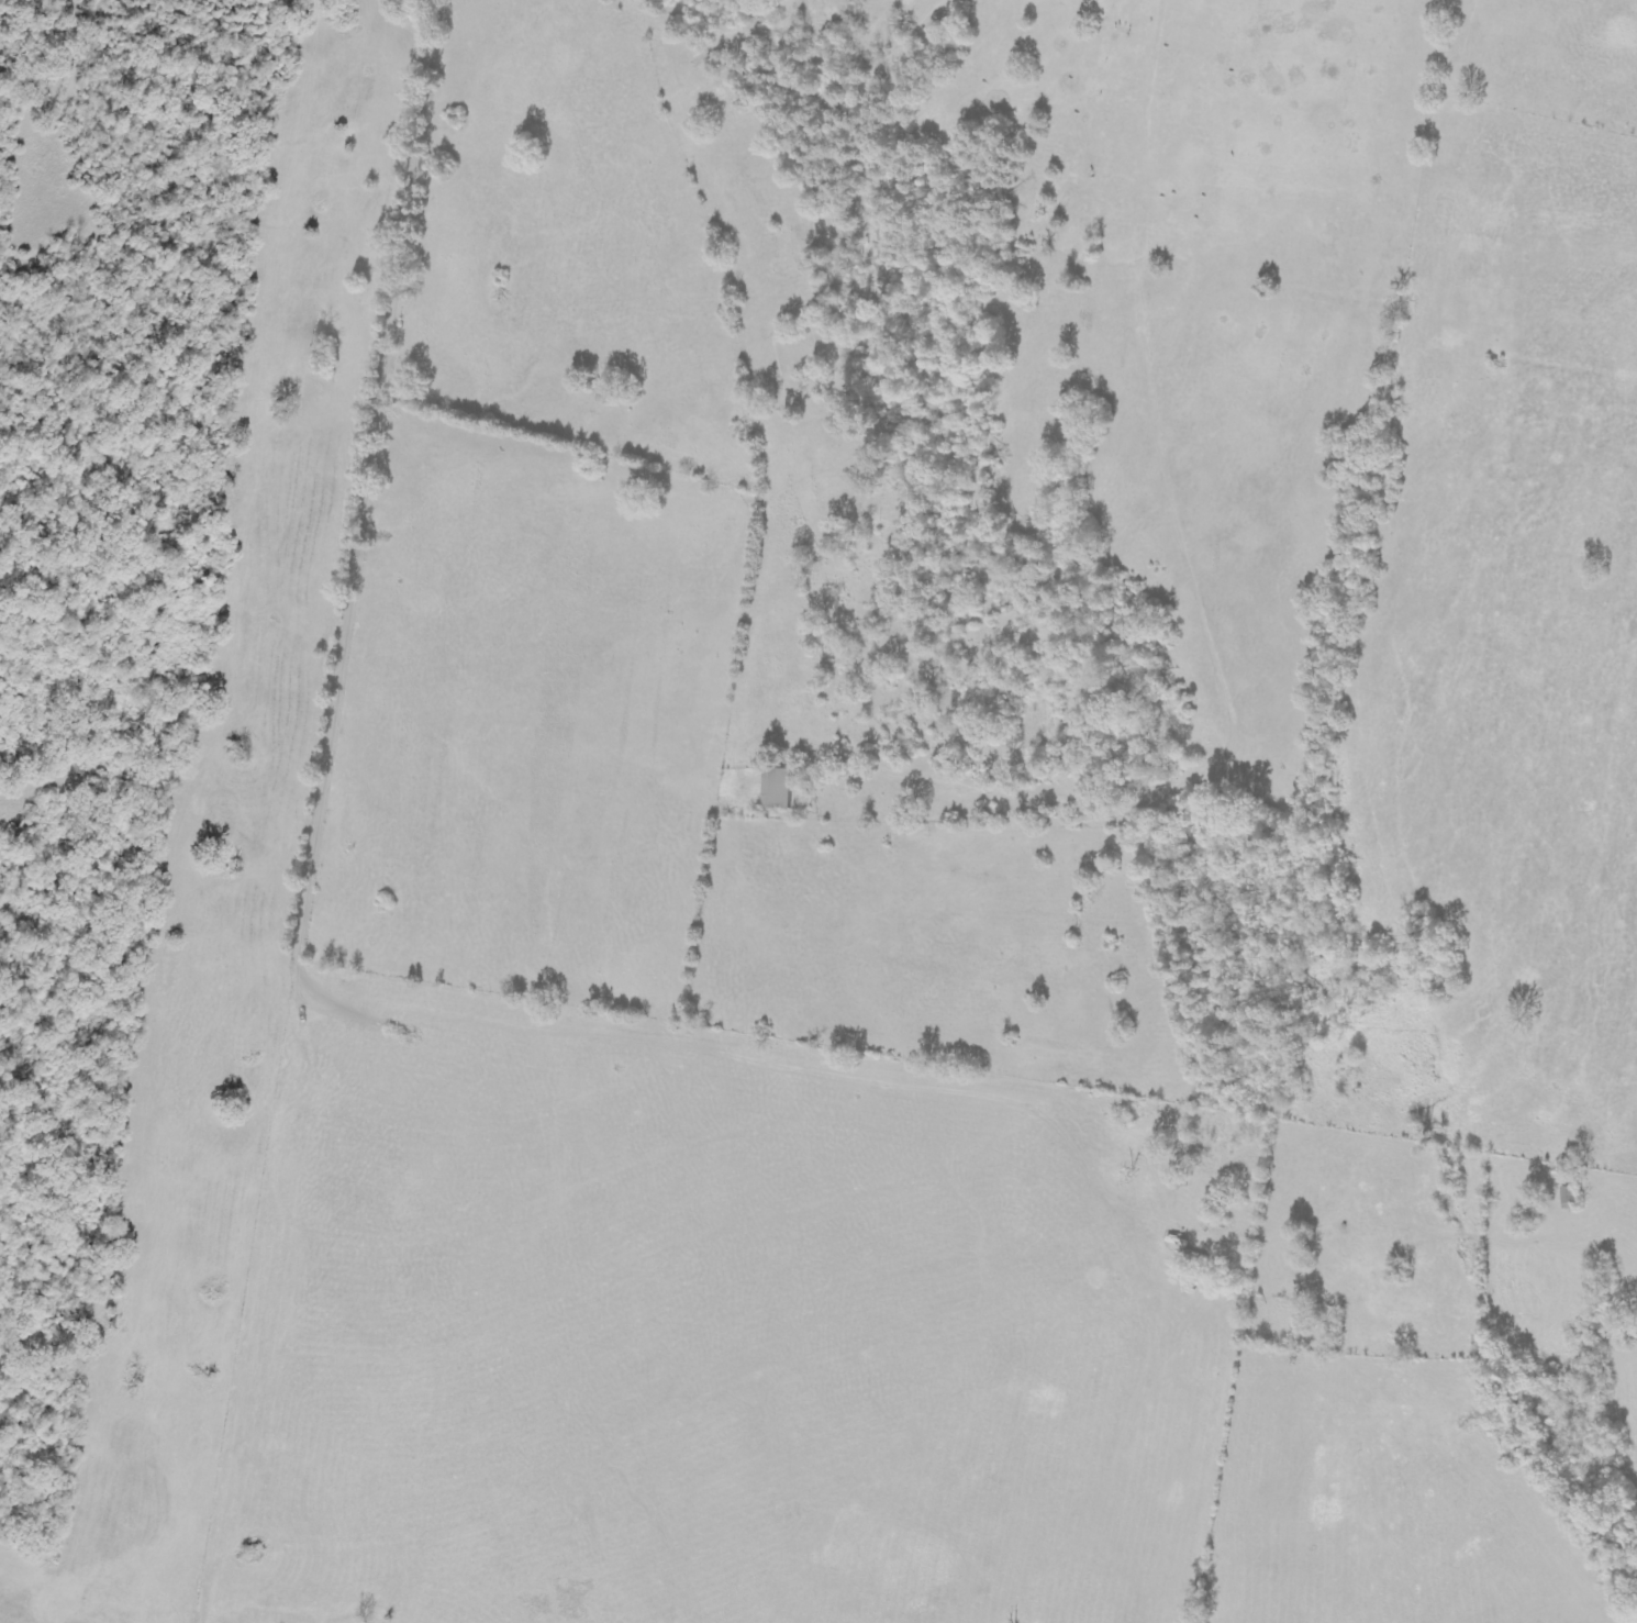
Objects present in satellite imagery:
building: (780, 788)

